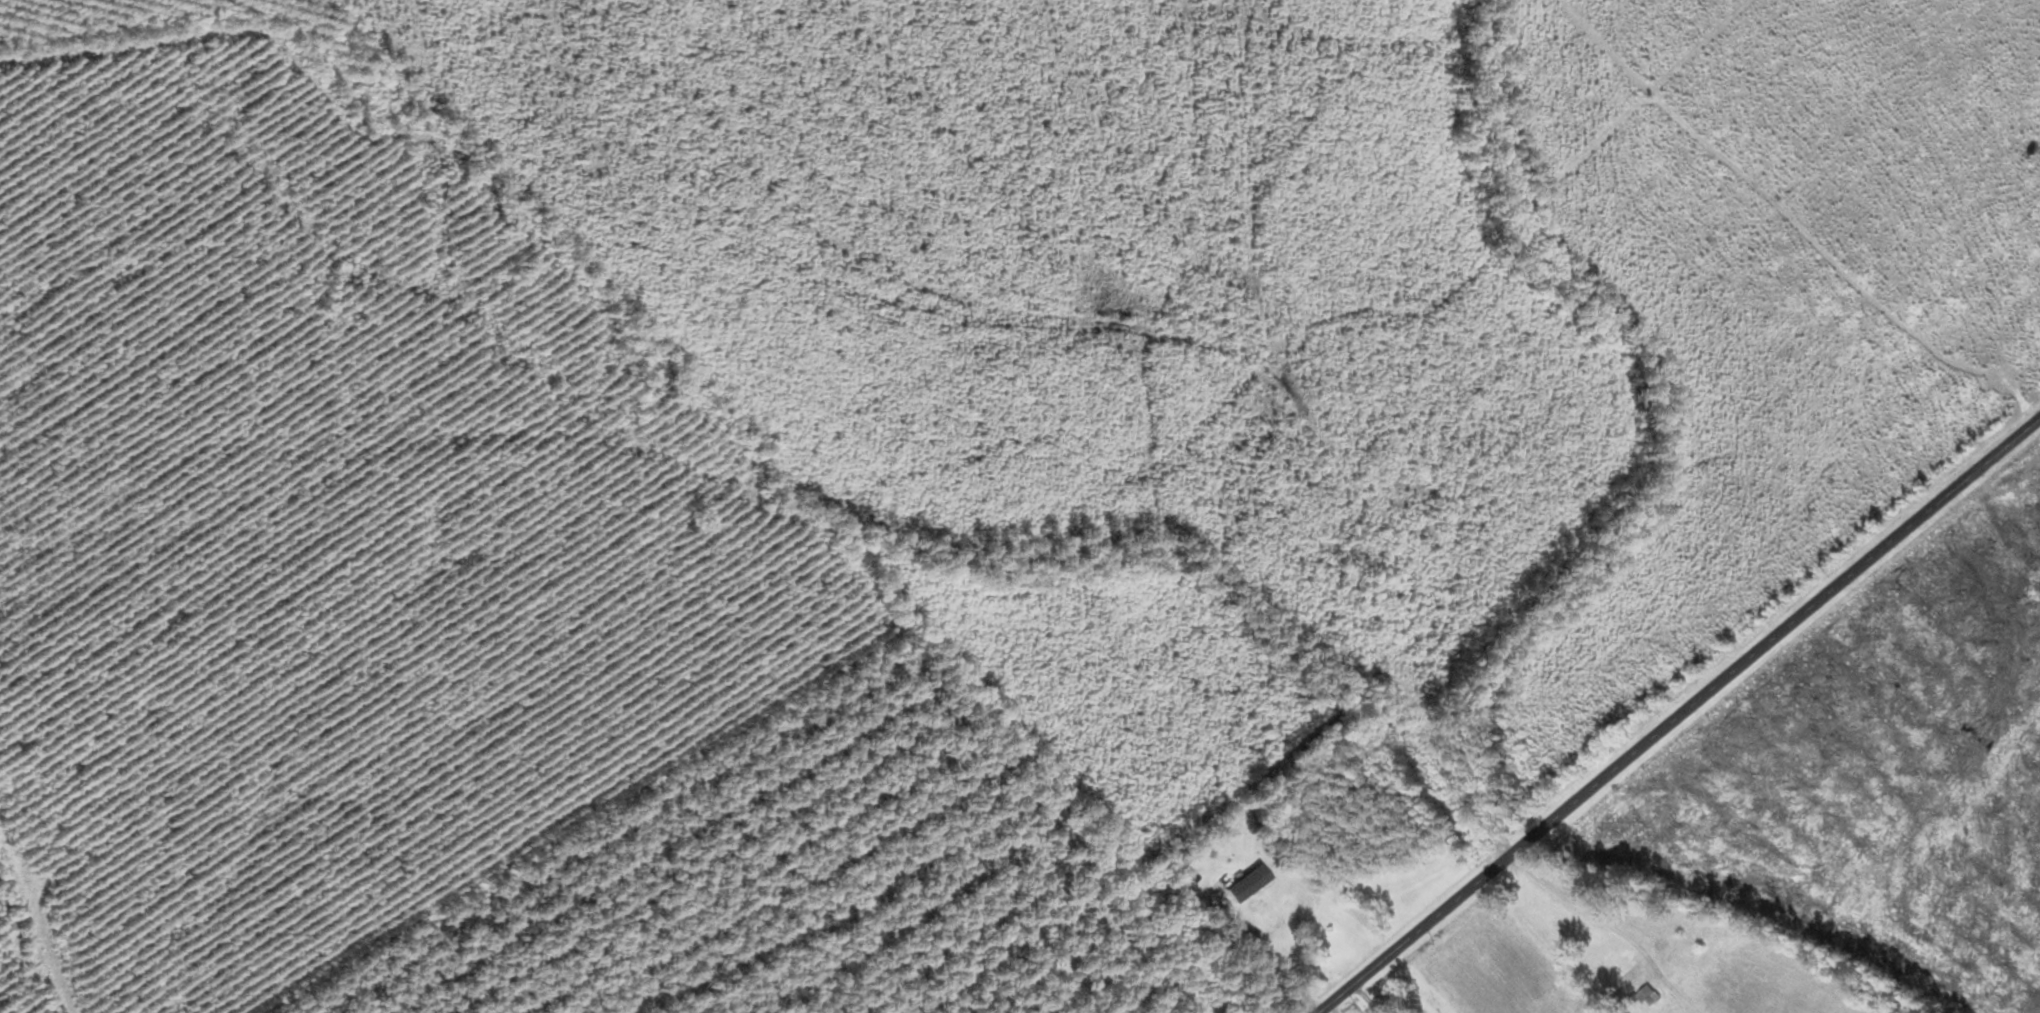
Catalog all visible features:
road: (1677, 714)
building: (1212, 897)
road: (1583, 906)
building: (1612, 976)

